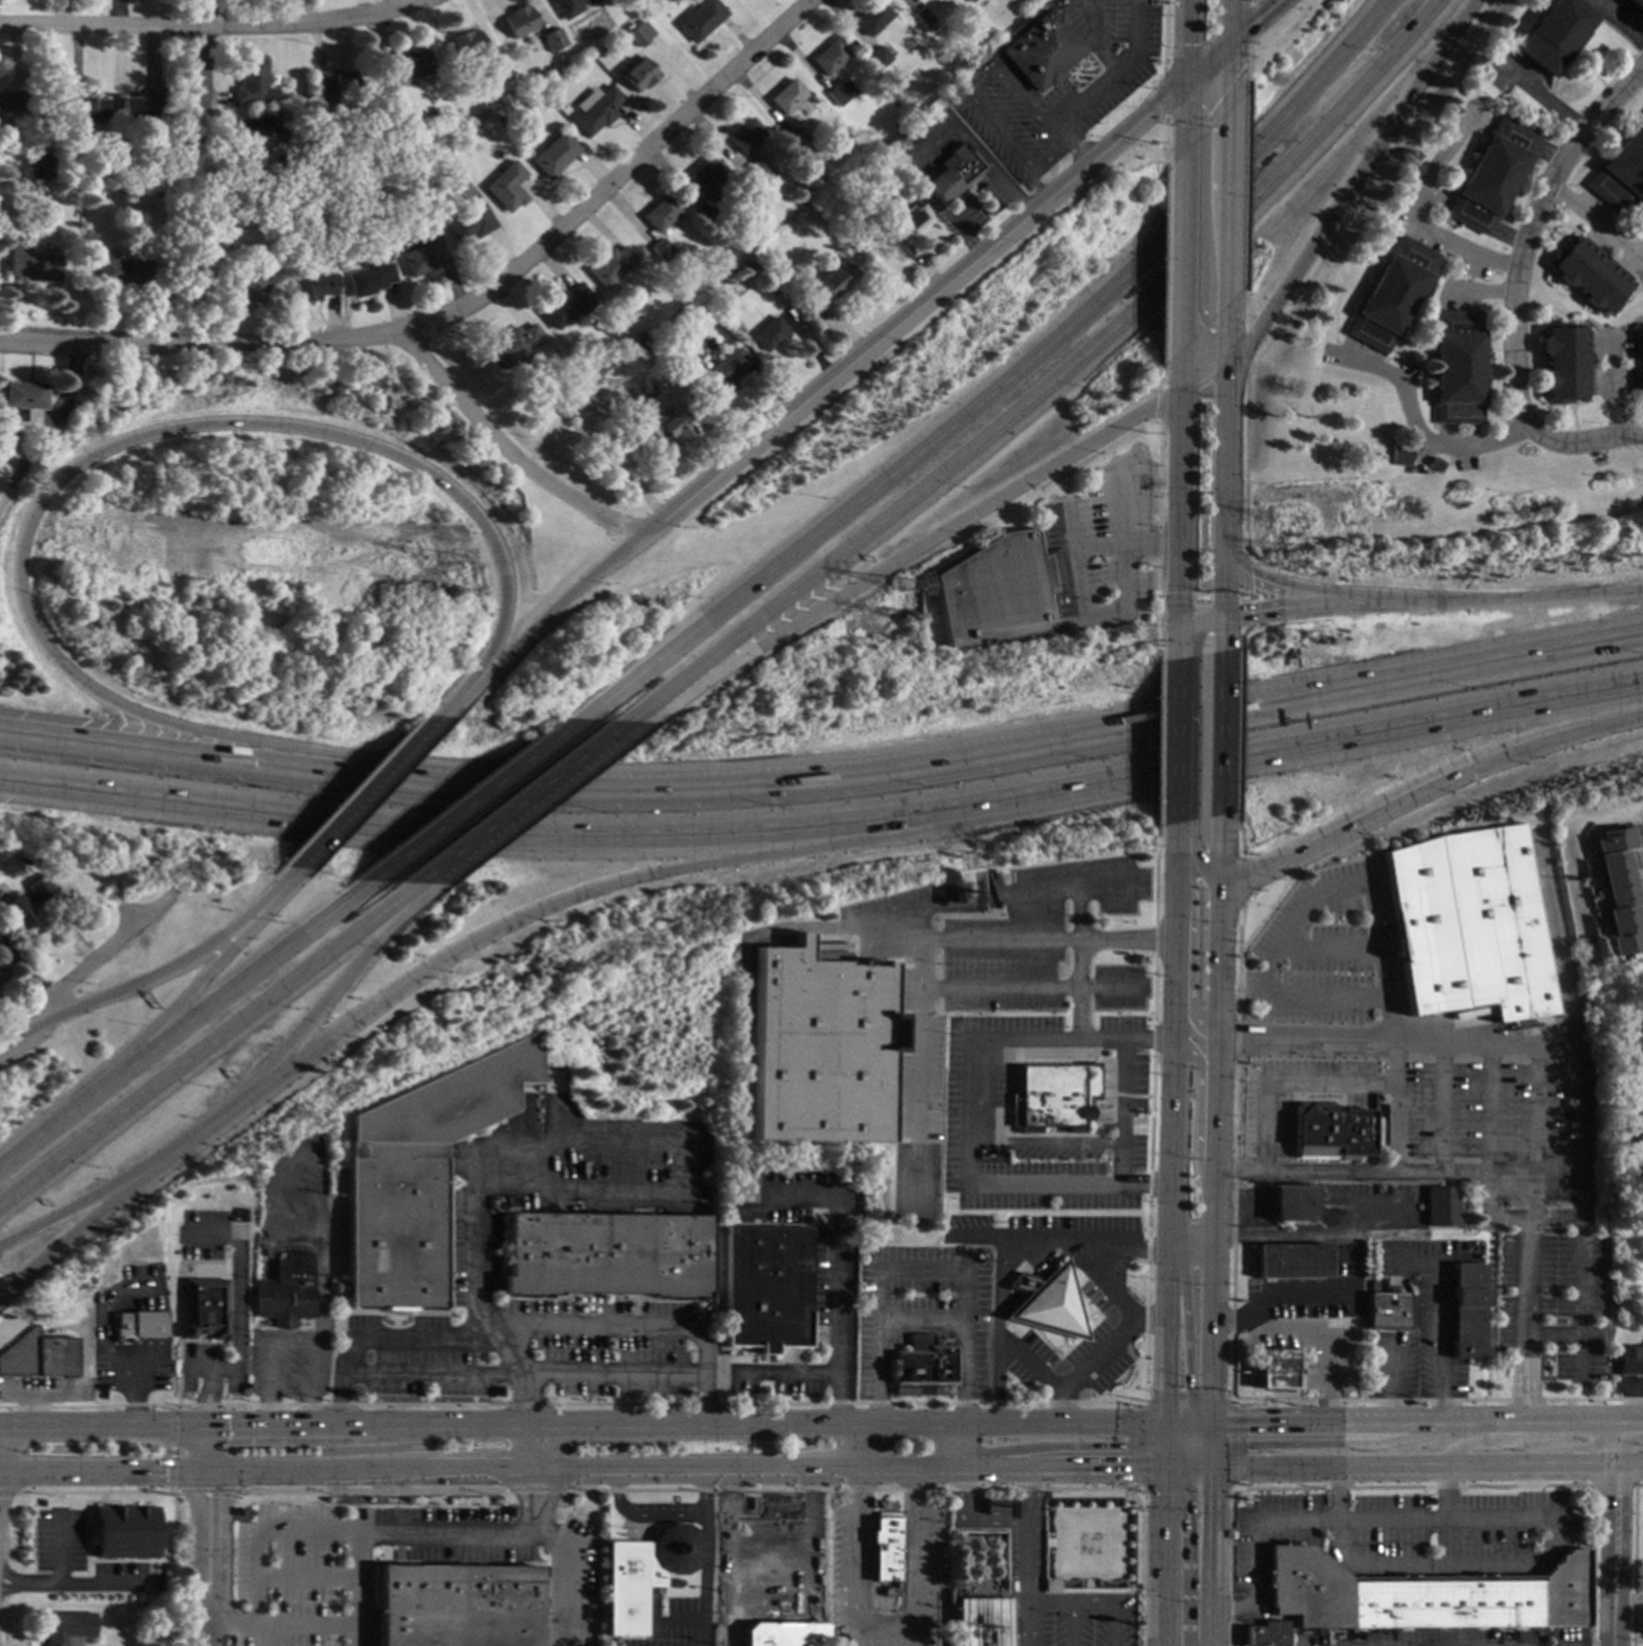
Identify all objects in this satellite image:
building: (970, 0)
building: (1637, 3)
building: (571, 7)
road: (1092, 11)
building: (923, 17)
building: (871, 18)
building: (701, 19)
road: (1255, 20)
road: (1619, 20)
building: (520, 21)
road: (1231, 21)
road: (1249, 21)
road: (208, 24)
building: (627, 26)
building: (641, 33)
building: (1554, 33)
road: (1164, 36)
building: (555, 39)
road: (1182, 40)
traffic signals: (1231, 42)
building: (468, 44)
building: (1043, 49)
road: (1099, 51)
building: (829, 56)
building: (879, 57)
road: (1206, 61)
road: (1247, 62)
road: (206, 63)
building: (414, 63)
road: (1231, 65)
road: (1587, 67)
building: (497, 71)
road: (1114, 72)
building: (640, 74)
building: (251, 79)
traffic signals: (1182, 80)
building: (389, 82)
building: (336, 83)
road: (1474, 83)
building: (840, 92)
road: (1164, 93)
building: (787, 96)
road: (1182, 97)
road: (1543, 97)
building: (11, 100)
road: (974, 103)
building: (141, 107)
building: (88, 109)
building: (597, 109)
building: (500, 119)
road: (949, 129)
road: (1565, 132)
building: (745, 136)
building: (903, 139)
road: (1164, 139)
building: (259, 140)
building: (798, 141)
road: (1067, 144)
road: (1229, 148)
building: (63, 154)
building: (555, 154)
building: (877, 162)
building: (40, 169)
building: (1620, 171)
building: (952, 173)
building: (758, 174)
building: (1492, 174)
building: (163, 177)
building: (707, 180)
building: (791, 182)
building: (301, 184)
building: (506, 186)
road: (1245, 186)
building: (163, 191)
road: (1642, 194)
road: (1435, 196)
road: (1342, 207)
building: (905, 211)
building: (662, 213)
road: (1623, 215)
road: (1413, 216)
building: (710, 218)
building: (470, 223)
road: (1596, 224)
road: (959, 235)
road: (1182, 235)
road: (1508, 235)
building: (219, 238)
road: (1598, 238)
building: (661, 249)
road: (1600, 249)
building: (423, 258)
road: (1321, 260)
road: (1626, 261)
building: (33, 265)
building: (610, 265)
building: (747, 265)
building: (669, 267)
road: (1229, 267)
building: (124, 271)
road: (1167, 272)
building: (1590, 273)
building: (369, 275)
building: (829, 281)
building: (249, 283)
building: (313, 286)
road: (1518, 288)
road: (1482, 291)
building: (1393, 293)
road: (1359, 295)
road: (1630, 295)
road: (1445, 299)
road: (1470, 301)
building: (567, 304)
road: (911, 308)
road: (461, 309)
road: (1245, 312)
road: (1413, 318)
road: (1592, 330)
building: (642, 334)
building: (769, 334)
building: (652, 343)
building: (515, 344)
road: (1610, 344)
road: (1247, 352)
road: (1093, 355)
building: (1639, 362)
building: (1565, 363)
building: (1459, 366)
building: (723, 368)
building: (658, 370)
road: (1430, 378)
road: (1611, 380)
road: (1008, 384)
road: (1163, 384)
road: (1612, 387)
building: (641, 388)
road: (1490, 392)
building: (22, 395)
road: (1160, 404)
building: (666, 426)
road: (1226, 428)
road: (1417, 429)
road: (1448, 435)
road: (1470, 435)
road: (141, 438)
road: (1179, 451)
road: (508, 453)
building: (1402, 454)
building: (1436, 463)
road: (1120, 513)
power tower: (1289, 535)
road: (1150, 549)
road: (916, 550)
road: (1096, 552)
power tower: (1297, 563)
power tower: (450, 569)
road: (1223, 572)
building: (994, 585)
road: (1291, 587)
road: (1245, 589)
road: (1514, 595)
power tower: (905, 598)
road: (1201, 598)
power tower: (445, 599)
road: (559, 602)
road: (1177, 605)
road: (1334, 605)
road: (1252, 612)
road: (1082, 616)
power tower: (909, 623)
building: (1009, 631)
road: (1192, 631)
road: (1223, 634)
road: (1440, 668)
road: (1175, 681)
road: (665, 693)
road: (462, 698)
road: (1558, 734)
road: (1221, 735)
road: (137, 744)
road: (1173, 762)
traffic signals: (1479, 766)
road: (758, 782)
road: (371, 794)
road: (480, 800)
road: (528, 803)
road: (1365, 817)
road: (826, 826)
road: (1189, 857)
building: (0, 864)
road: (690, 868)
road: (1171, 868)
road: (1237, 875)
road: (286, 884)
road: (1099, 884)
building: (1621, 886)
building: (28, 902)
road: (1074, 912)
building: (1468, 922)
road: (848, 923)
road: (995, 939)
road: (1169, 940)
building: (828, 943)
road: (1074, 944)
road: (1559, 945)
road: (1330, 946)
parking lot: (1312, 951)
road: (1381, 961)
road: (86, 968)
road: (1268, 969)
traffic signals: (431, 970)
road: (140, 983)
road: (1029, 987)
road: (334, 990)
road: (230, 991)
road: (180, 1002)
road: (1185, 1009)
building: (1642, 1021)
road: (341, 1035)
road: (210, 1043)
road: (1394, 1044)
building: (1636, 1046)
building: (815, 1047)
road: (912, 1065)
road: (1286, 1082)
building: (1050, 1097)
road: (1196, 1101)
road: (1393, 1107)
road: (1166, 1108)
road: (1441, 1108)
road: (1490, 1109)
road: (968, 1112)
road: (1119, 1114)
road: (1214, 1120)
parking lot: (1494, 1123)
parking lot: (1264, 1131)
building: (1331, 1131)
road: (1580, 1131)
road: (1535, 1132)
building: (1636, 1132)
road: (42, 1133)
road: (597, 1139)
road: (1043, 1141)
road: (1351, 1170)
building: (419, 1172)
road: (129, 1181)
road: (1368, 1201)
building: (1290, 1203)
building: (1442, 1205)
road: (1511, 1217)
road: (74, 1233)
road: (1303, 1239)
road: (1188, 1244)
road: (1141, 1247)
building: (609, 1252)
road: (1048, 1258)
building: (1292, 1261)
road: (919, 1271)
road: (839, 1273)
road: (1022, 1282)
road: (1106, 1289)
building: (766, 1290)
road: (1119, 1290)
building: (288, 1291)
parking lot: (1553, 1298)
road: (1579, 1299)
road: (1296, 1301)
building: (1045, 1302)
road: (150, 1303)
road: (241, 1303)
building: (1468, 1310)
parking lot: (1427, 1311)
building: (1388, 1312)
building: (198, 1314)
road: (1443, 1314)
road: (920, 1317)
road: (1526, 1317)
road: (1149, 1320)
road: (107, 1323)
building: (140, 1325)
road: (150, 1326)
road: (616, 1326)
road: (1311, 1327)
road: (1186, 1331)
road: (1161, 1333)
road: (1553, 1335)
road: (383, 1337)
road: (292, 1338)
road: (997, 1349)
building: (39, 1355)
building: (1630, 1360)
building: (923, 1362)
road: (144, 1363)
parking lot: (1390, 1367)
building: (1275, 1368)
road: (636, 1374)
road: (787, 1374)
road: (431, 1375)
road: (1392, 1379)
road: (269, 1381)
road: (311, 1386)
road: (208, 1388)
traffic signals: (1161, 1388)
traffic signals: (1188, 1388)
road: (133, 1399)
road: (520, 1399)
road: (1060, 1406)
road: (959, 1410)
road: (879, 1411)
road: (1629, 1419)
road: (1528, 1420)
traffic signals: (1161, 1421)
road: (1174, 1421)
road: (1199, 1421)
road: (1269, 1421)
road: (1385, 1421)
road: (840, 1422)
traffic signals: (1211, 1422)
traffic signals: (1246, 1422)
road: (447, 1423)
road: (101, 1424)
road: (289, 1424)
traffic signals: (205, 1426)
road: (1189, 1428)
road: (1200, 1428)
road: (1171, 1429)
road: (1160, 1432)
road: (1328, 1432)
road: (1211, 1433)
road: (1184, 1437)
road: (1387, 1440)
road: (1192, 1441)
road: (1506, 1441)
road: (1614, 1441)
road: (1169, 1442)
road: (852, 1444)
road: (959, 1444)
traffic signals: (1245, 1444)
road: (1269, 1444)
road: (1180, 1445)
road: (520, 1446)
road: (1057, 1446)
traffic signals: (1124, 1446)
road: (1202, 1446)
road: (205, 1449)
road: (1188, 1449)
road: (1159, 1455)
road: (1211, 1455)
road: (1183, 1457)
road: (1200, 1457)
road: (1170, 1459)
road: (1629, 1463)
road: (1413, 1464)
road: (1172, 1465)
road: (1198, 1465)
traffic signals: (1211, 1465)
road: (1059, 1466)
traffic signals: (1127, 1466)
traffic signals: (1159, 1466)
road: (739, 1469)
road: (208, 1471)
road: (470, 1471)
traffic signals: (205, 1472)
road: (1447, 1492)
road: (1334, 1493)
traffic signals: (1210, 1503)
traffic signals: (1184, 1508)
road: (969, 1516)
road: (663, 1517)
parking lot: (1406, 1525)
road: (525, 1528)
road: (1121, 1528)
road: (256, 1529)
building: (124, 1531)
road: (439, 1532)
building: (1229, 1534)
fountain: (984, 1537)
road: (1255, 1543)
parking lot: (1034, 1547)
building: (887, 1548)
road: (1547, 1551)
road: (58, 1552)
road: (1209, 1554)
road: (1613, 1554)
road: (1021, 1556)
road: (1159, 1556)
road: (728, 1557)
road: (1184, 1557)
road: (569, 1572)
building: (644, 1573)
road: (812, 1573)
road: (706, 1577)
road: (303, 1580)
parking lot: (286, 1581)
road: (68, 1585)
building: (1049, 1585)
road: (355, 1588)
building: (889, 1592)
building: (1421, 1595)
road: (205, 1601)
road: (1085, 1603)
building: (454, 1606)
building: (1642, 1620)
parking lot: (1082, 1621)
building: (980, 1623)
road: (207, 1624)
road: (1069, 1624)
road: (229, 1625)
road: (303, 1626)
building: (66, 1627)
road: (884, 1628)
building: (1264, 1634)
building: (781, 1635)

